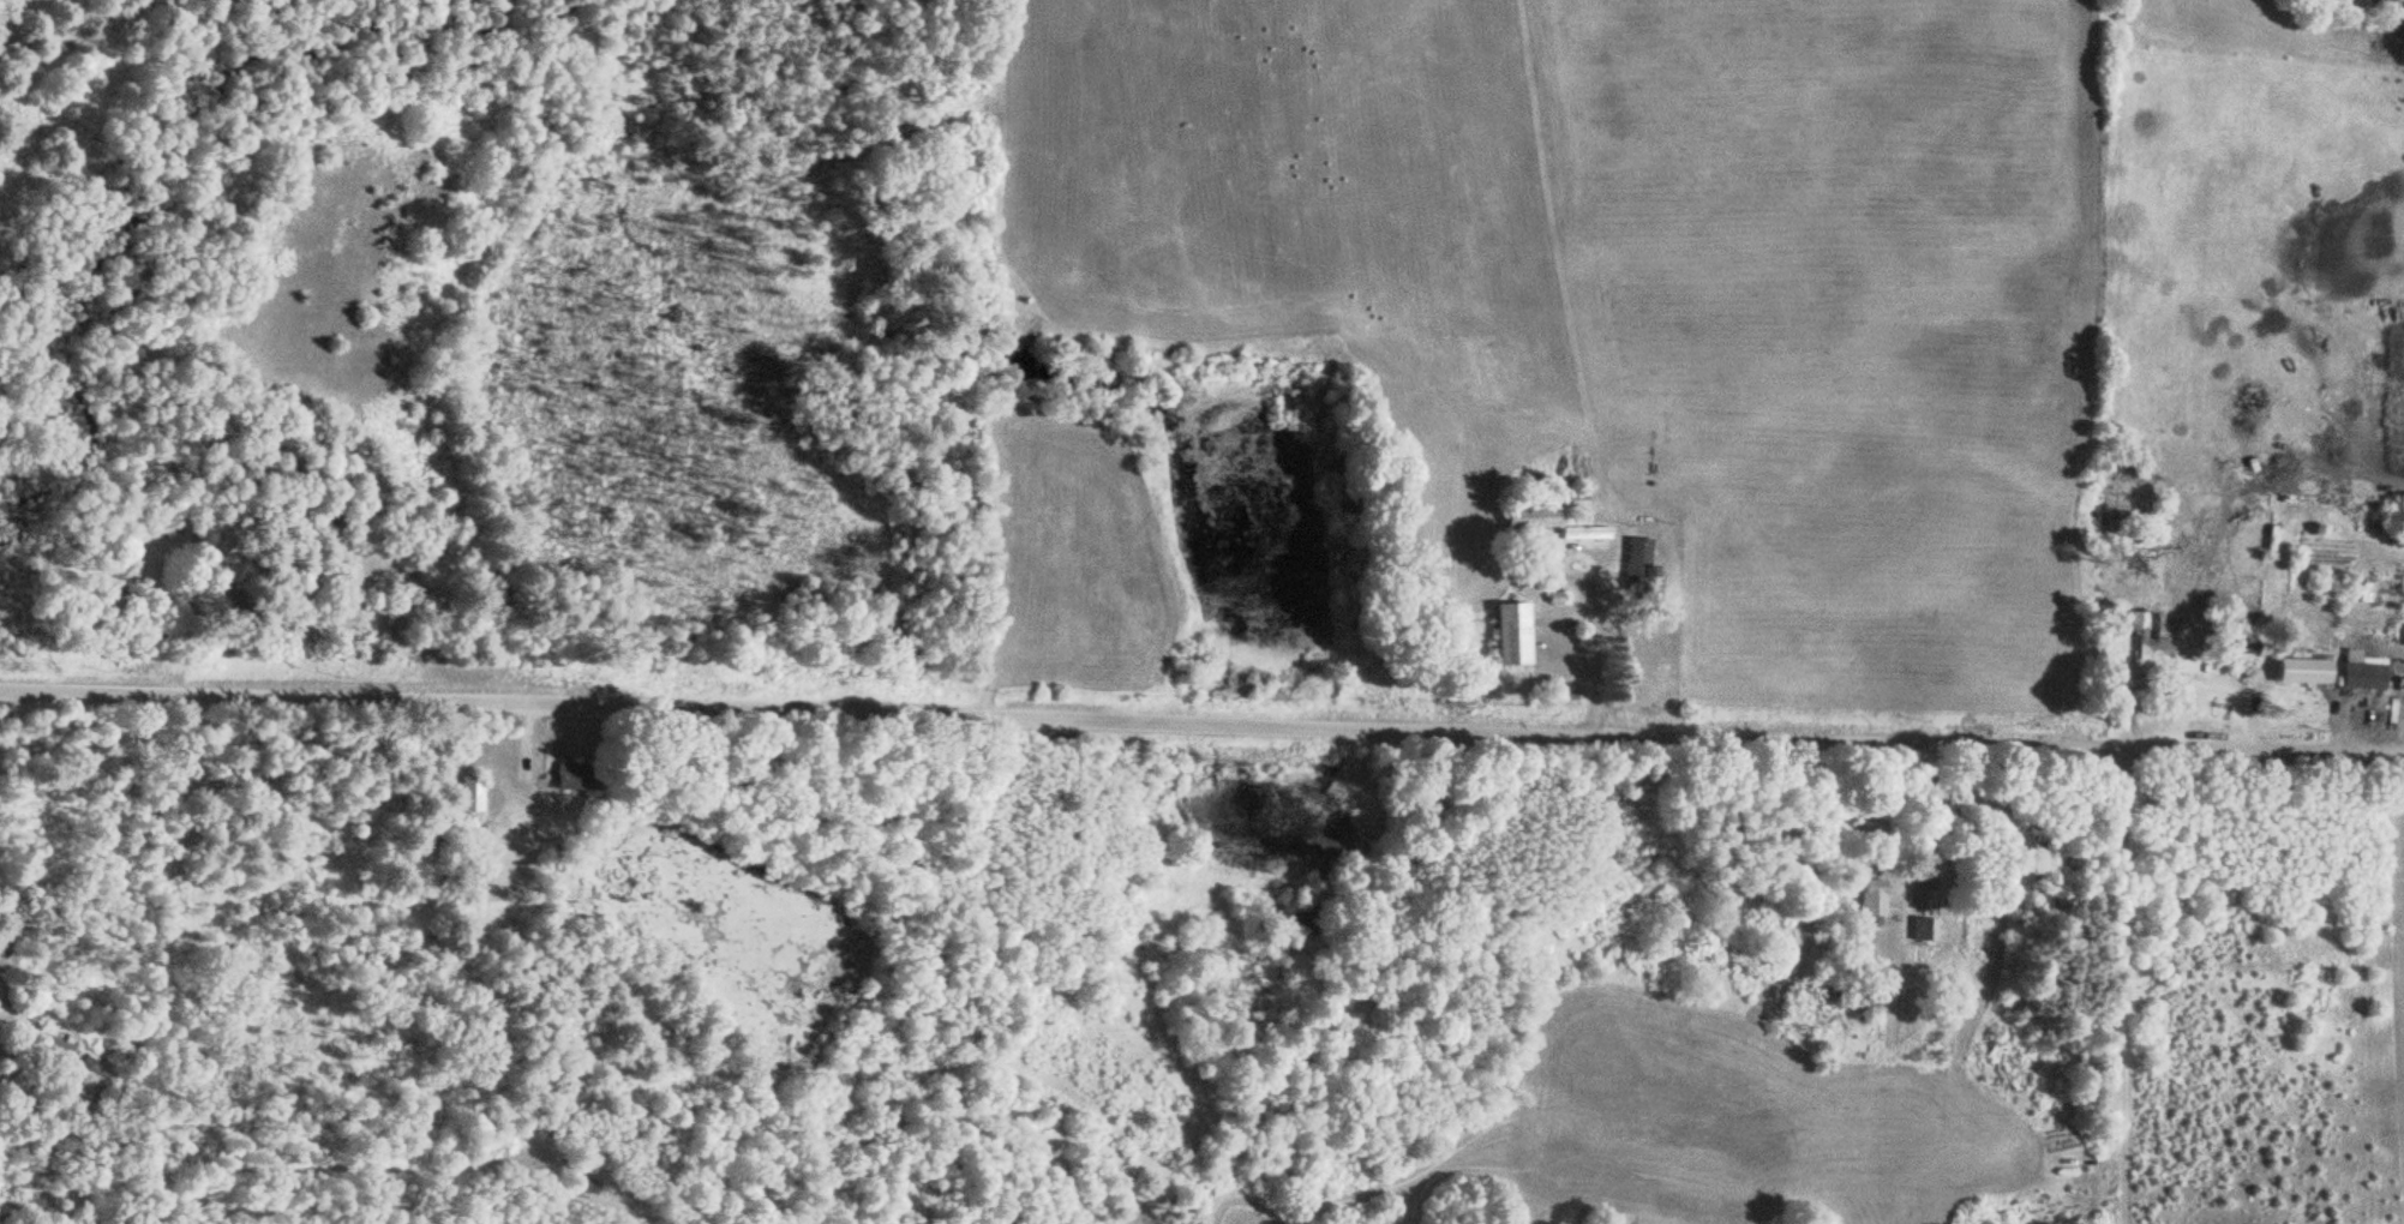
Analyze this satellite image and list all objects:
building: (1567, 497)
building: (1527, 518)
building: (1635, 562)
building: (1505, 635)
building: (2117, 644)
building: (2357, 676)
building: (2210, 719)
road: (1201, 722)
building: (568, 776)
building: (469, 794)
building: (1868, 905)
building: (50, 1049)

